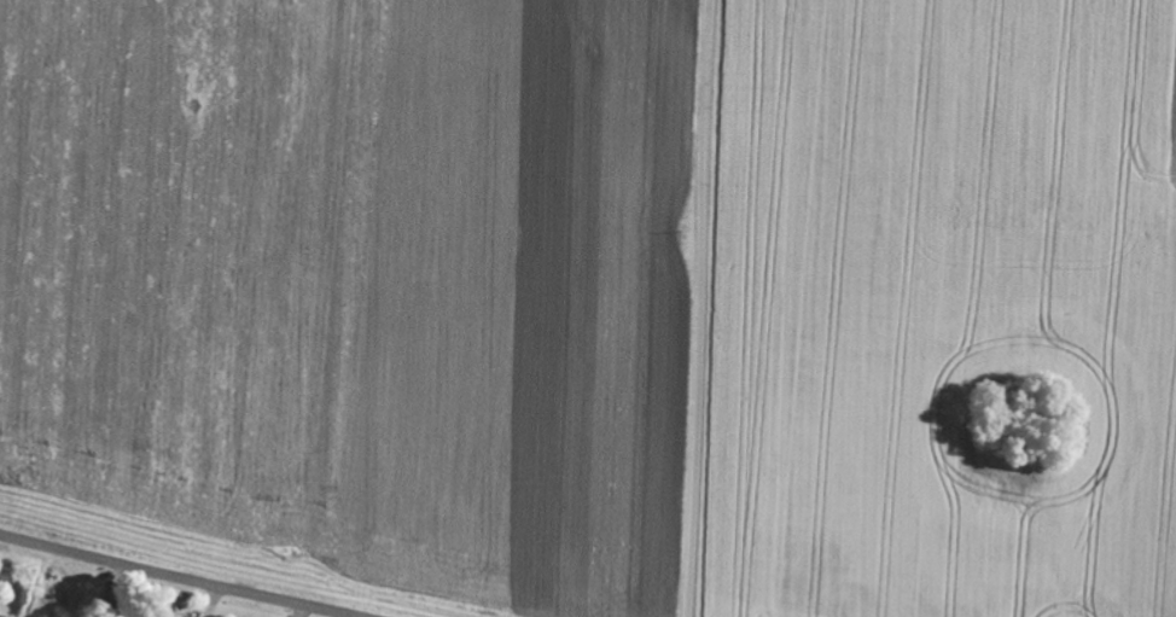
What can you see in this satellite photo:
road: (698, 308)
road: (186, 575)

